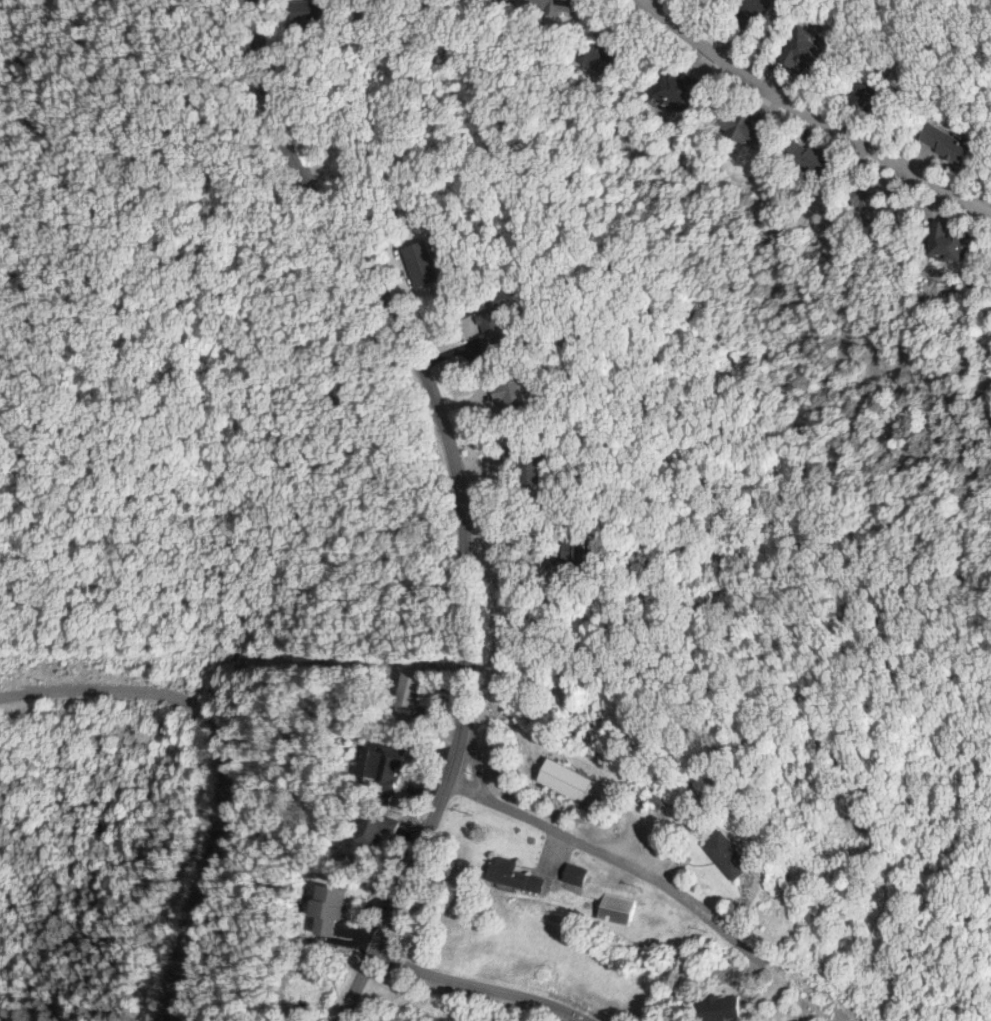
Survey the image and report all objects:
building: (558, 3)
building: (313, 12)
building: (811, 50)
building: (607, 58)
building: (685, 90)
building: (880, 92)
road: (814, 112)
building: (750, 128)
building: (951, 144)
road: (101, 208)
building: (951, 241)
building: (428, 264)
building: (493, 333)
building: (509, 391)
road: (461, 502)
road: (509, 598)
building: (411, 690)
road: (231, 760)
building: (391, 765)
building: (576, 781)
building: (672, 803)
building: (378, 830)
building: (740, 858)
road: (638, 868)
building: (587, 876)
building: (523, 877)
building: (330, 907)
building: (626, 910)
road: (481, 984)
building: (724, 1008)

